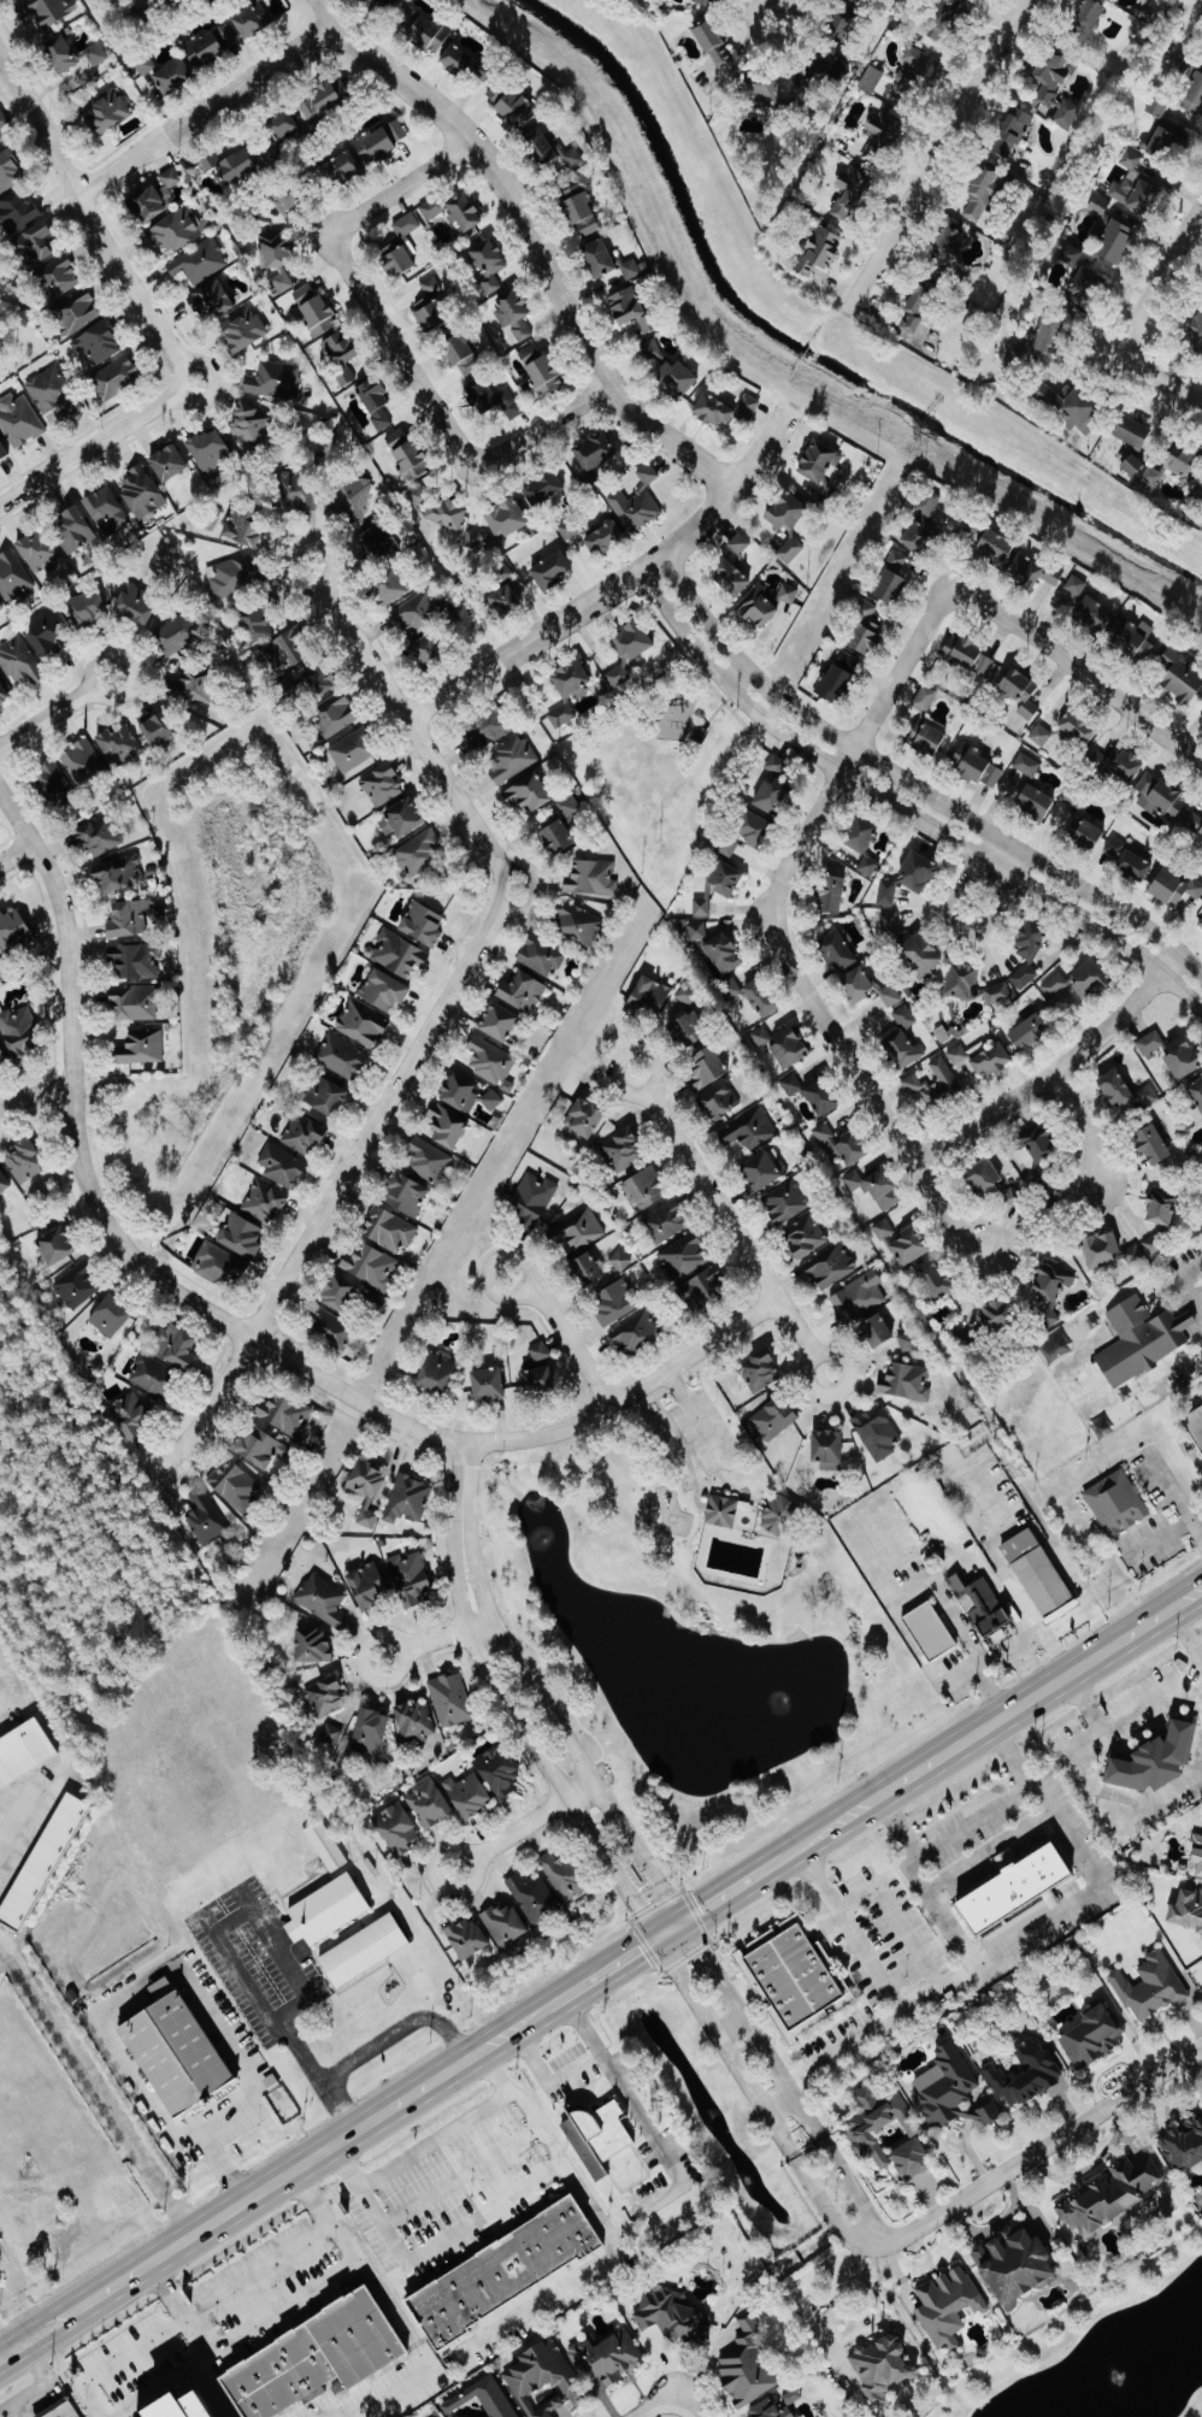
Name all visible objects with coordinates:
building: (263, 0)
building: (165, 1)
building: (711, 2)
building: (377, 5)
building: (43, 12)
building: (1089, 19)
building: (253, 20)
building: (944, 25)
building: (844, 26)
building: (430, 35)
building: (228, 36)
road: (768, 37)
building: (205, 48)
building: (715, 54)
building: (72, 55)
building: (459, 61)
building: (146, 65)
building: (484, 75)
building: (173, 77)
building: (917, 77)
building: (1051, 77)
building: (872, 79)
building: (765, 89)
building: (1194, 96)
building: (328, 100)
building: (512, 105)
building: (1156, 107)
road: (204, 111)
building: (108, 112)
building: (1067, 114)
building: (2, 120)
building: (283, 126)
building: (1012, 132)
building: (884, 135)
building: (1169, 138)
building: (382, 141)
building: (555, 151)
road: (935, 157)
building: (211, 163)
building: (237, 166)
building: (344, 166)
building: (8, 173)
building: (1135, 187)
building: (850, 194)
building: (983, 195)
building: (155, 198)
building: (284, 206)
building: (1100, 206)
building: (432, 210)
building: (582, 211)
building: (465, 212)
building: (17, 213)
road: (88, 219)
building: (173, 232)
road: (344, 237)
road: (536, 237)
building: (1118, 243)
building: (36, 244)
building: (947, 247)
building: (401, 248)
building: (819, 250)
building: (1072, 255)
building: (278, 258)
building: (600, 259)
building: (199, 263)
building: (489, 265)
building: (631, 270)
building: (58, 278)
road: (1159, 278)
building: (1088, 287)
building: (212, 302)
building: (431, 307)
building: (314, 310)
building: (631, 310)
building: (918, 310)
building: (76, 312)
building: (514, 314)
building: (243, 330)
building: (1196, 331)
building: (1050, 334)
building: (96, 346)
building: (652, 353)
building: (341, 355)
building: (464, 356)
road: (202, 361)
building: (541, 369)
building: (114, 378)
building: (679, 378)
road: (1159, 379)
building: (275, 381)
building: (52, 393)
building: (493, 397)
road: (194, 401)
building: (376, 402)
building: (1071, 406)
building: (725, 411)
building: (19, 421)
building: (251, 423)
building: (1133, 432)
road: (93, 446)
building: (595, 452)
building: (211, 453)
building: (407, 454)
road: (500, 454)
building: (170, 464)
building: (821, 465)
building: (1133, 466)
building: (1178, 470)
building: (543, 489)
building: (143, 493)
building: (297, 493)
building: (419, 496)
building: (349, 501)
building: (638, 502)
building: (106, 512)
building: (789, 513)
building: (447, 514)
building: (507, 520)
building: (924, 524)
building: (246, 530)
building: (73, 531)
building: (606, 540)
building: (477, 542)
building: (379, 543)
building: (740, 544)
building: (996, 548)
road: (294, 549)
building: (790, 550)
building: (40, 554)
building: (897, 562)
building: (1033, 571)
building: (552, 572)
building: (505, 573)
building: (234, 576)
building: (13, 578)
building: (732, 578)
road: (614, 583)
building: (1076, 586)
building: (391, 589)
building: (891, 589)
building: (505, 602)
building: (767, 603)
building: (137, 605)
building: (1, 608)
building: (88, 609)
building: (1095, 613)
building: (418, 614)
building: (258, 624)
building: (866, 630)
building: (177, 636)
building: (47, 638)
building: (1137, 638)
building: (629, 650)
building: (288, 652)
building: (429, 652)
building: (968, 658)
building: (19, 661)
road: (126, 666)
road: (1078, 671)
building: (837, 679)
building: (1182, 679)
building: (318, 683)
building: (199, 688)
building: (1023, 691)
building: (568, 692)
building: (4, 695)
building: (926, 698)
building: (336, 714)
road: (46, 719)
building: (1080, 726)
building: (491, 729)
building: (159, 730)
road: (416, 735)
building: (929, 735)
building: (1041, 735)
building: (119, 745)
building: (353, 750)
building: (511, 760)
building: (83, 764)
building: (777, 764)
building: (1120, 764)
building: (1027, 765)
building: (978, 766)
park: (660, 774)
building: (54, 783)
building: (382, 785)
road: (911, 785)
building: (530, 794)
building: (773, 795)
building: (1161, 796)
building: (1036, 801)
building: (1066, 806)
building: (570, 808)
road: (902, 809)
road: (16, 818)
building: (402, 820)
building: (1194, 821)
building: (754, 829)
building: (1090, 832)
building: (861, 833)
building: (100, 836)
building: (559, 836)
building: (729, 847)
building: (1115, 848)
road: (16, 853)
building: (418, 854)
road: (519, 863)
building: (1136, 863)
building: (868, 866)
building: (119, 874)
building: (909, 877)
building: (593, 878)
building: (726, 878)
building: (1177, 889)
building: (832, 895)
building: (702, 907)
road: (522, 908)
building: (1201, 921)
building: (891, 922)
building: (423, 924)
building: (581, 925)
building: (13, 931)
building: (699, 931)
road: (958, 931)
road: (779, 935)
building: (721, 950)
building: (838, 950)
building: (400, 954)
building: (921, 954)
building: (542, 956)
building: (136, 961)
building: (1091, 979)
building: (964, 980)
building: (858, 984)
building: (731, 988)
building: (385, 990)
building: (523, 991)
building: (1059, 992)
building: (688, 994)
building: (997, 995)
building: (891, 996)
building: (649, 997)
building: (762, 997)
building: (135, 1003)
building: (906, 1016)
building: (500, 1022)
building: (363, 1025)
building: (690, 1028)
building: (1031, 1032)
building: (19, 1033)
building: (764, 1038)
building: (1150, 1043)
building: (901, 1045)
building: (791, 1047)
building: (142, 1048)
road: (624, 1054)
building: (958, 1055)
building: (1184, 1057)
building: (342, 1059)
building: (2, 1060)
building: (994, 1060)
building: (490, 1061)
building: (708, 1066)
road: (1055, 1071)
building: (945, 1075)
building: (791, 1084)
building: (744, 1087)
building: (1197, 1090)
building: (1126, 1092)
road: (35, 1095)
building: (469, 1095)
building: (326, 1096)
building: (824, 1096)
building: (720, 1102)
building: (585, 1118)
building: (447, 1125)
building: (752, 1130)
road: (1085, 1130)
building: (304, 1136)
building: (1041, 1143)
building: (843, 1144)
building: (1154, 1144)
building: (623, 1149)
building: (429, 1160)
building: (25, 1161)
building: (282, 1167)
building: (762, 1171)
building: (4, 1181)
building: (992, 1184)
building: (646, 1187)
building: (878, 1187)
road: (335, 1191)
building: (407, 1193)
building: (532, 1198)
building: (265, 1202)
building: (786, 1202)
building: (1163, 1208)
building: (666, 1222)
road: (731, 1224)
building: (390, 1230)
building: (578, 1230)
building: (242, 1236)
building: (806, 1236)
building: (905, 1243)
building: (1155, 1244)
building: (57, 1245)
building: (1102, 1249)
building: (1135, 1254)
building: (684, 1256)
building: (620, 1260)
road: (488, 1263)
building: (219, 1266)
building: (371, 1266)
building: (830, 1266)
building: (589, 1269)
building: (936, 1279)
building: (77, 1285)
road: (1183, 1287)
building: (1051, 1289)
building: (703, 1290)
building: (340, 1292)
building: (858, 1298)
building: (615, 1302)
building: (112, 1315)
building: (997, 1315)
building: (331, 1328)
building: (877, 1331)
building: (635, 1332)
building: (1142, 1339)
road: (253, 1340)
building: (908, 1342)
road: (570, 1345)
building: (176, 1346)
building: (541, 1351)
road: (814, 1356)
building: (761, 1370)
building: (437, 1372)
building: (153, 1376)
building: (538, 1380)
building: (906, 1383)
building: (488, 1384)
building: (285, 1413)
road: (694, 1415)
building: (130, 1416)
building: (774, 1419)
building: (1195, 1423)
building: (877, 1433)
building: (260, 1448)
building: (829, 1450)
building: (369, 1480)
building: (234, 1485)
park: (689, 1488)
road: (464, 1491)
building: (408, 1499)
building: (1116, 1503)
building: (723, 1511)
building: (779, 1516)
building: (205, 1520)
road: (1176, 1534)
fountain: (543, 1539)
road: (983, 1566)
building: (1038, 1573)
road: (1072, 1575)
building: (411, 1579)
building: (369, 1586)
building: (323, 1599)
road: (1186, 1599)
building: (982, 1605)
road: (959, 1627)
building: (931, 1632)
road: (1185, 1637)
road: (436, 1638)
road: (1026, 1639)
building: (314, 1646)
road: (1056, 1652)
road: (1201, 1662)
road: (1201, 1663)
road: (1032, 1666)
road: (8, 1685)
building: (325, 1697)
building: (0, 1698)
fountain: (777, 1699)
building: (450, 1700)
road: (1023, 1704)
road: (1085, 1704)
road: (1144, 1705)
building: (416, 1722)
building: (331, 1734)
building: (370, 1735)
road: (565, 1737)
road: (537, 1747)
building: (25, 1757)
building: (1155, 1761)
road: (1051, 1767)
building: (499, 1772)
building: (469, 1796)
road: (1132, 1799)
building: (429, 1805)
road: (970, 1822)
road: (524, 1826)
road: (837, 1826)
building: (397, 1829)
building: (326, 1846)
road: (989, 1850)
road: (790, 1856)
building: (1196, 1859)
building: (45, 1863)
building: (564, 1875)
road: (924, 1882)
road: (1100, 1885)
building: (1017, 1896)
building: (535, 1899)
road: (719, 1900)
building: (1188, 1909)
building: (328, 1911)
traffic signals: (687, 1923)
building: (506, 1926)
road: (213, 1932)
building: (469, 1939)
traffic signals: (659, 1941)
building: (1201, 1941)
building: (365, 1951)
road: (620, 1965)
building: (793, 1979)
building: (1151, 1987)
road: (123, 1991)
road: (906, 2006)
road: (729, 2023)
building: (1092, 2038)
road: (378, 2046)
road: (841, 2047)
building: (177, 2051)
building: (1026, 2075)
road: (783, 2082)
road: (98, 2087)
road: (542, 2092)
building: (951, 2092)
road: (619, 2098)
road: (777, 2103)
road: (760, 2105)
building: (889, 2133)
building: (600, 2136)
road: (346, 2144)
road: (435, 2145)
road: (1044, 2146)
building: (1184, 2146)
building: (1110, 2198)
road: (484, 2224)
road: (282, 2258)
building: (1017, 2266)
road: (10, 2272)
building: (506, 2272)
road: (570, 2280)
road: (5, 2295)
building: (949, 2306)
road: (17, 2307)
road: (829, 2311)
road: (51, 2312)
road: (407, 2334)
road: (57, 2340)
road: (143, 2345)
building: (608, 2357)
building: (317, 2358)
building: (748, 2365)
building: (884, 2368)
building: (546, 2382)
building: (483, 2399)
road: (660, 2404)
road: (687, 2405)
building: (776, 2406)
building: (185, 2409)
building: (65, 2410)
building: (461, 2416)

